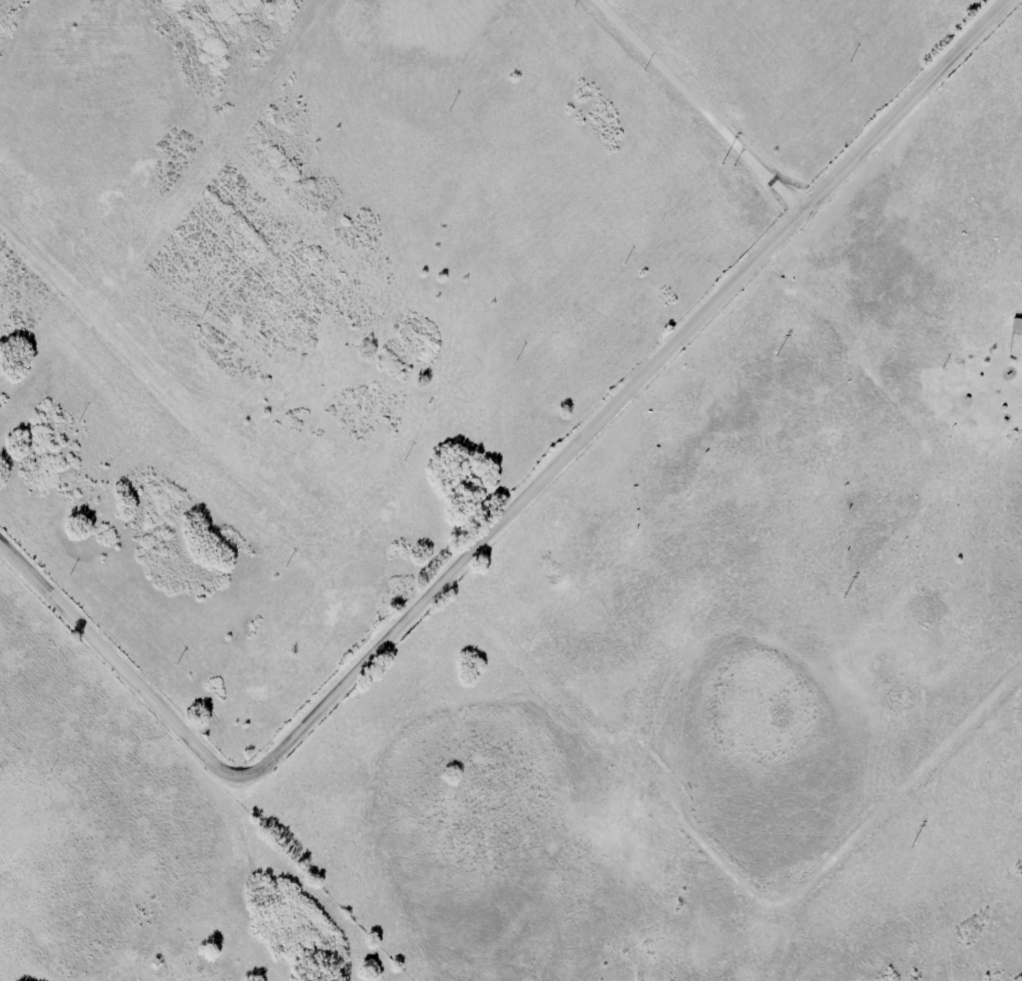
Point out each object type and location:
road: (756, 167)
building: (1018, 323)
road: (510, 513)

